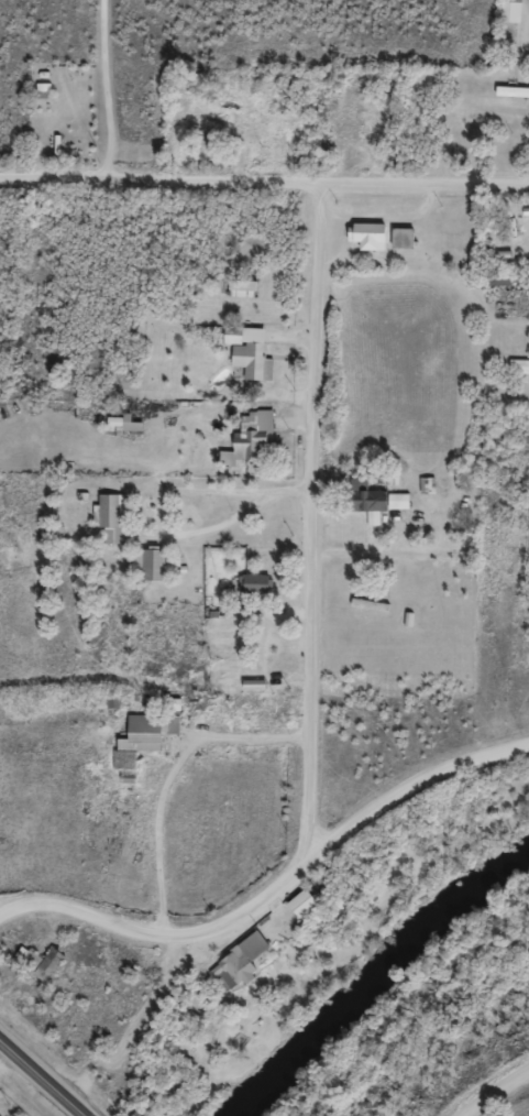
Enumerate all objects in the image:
building: (509, 20)
road: (107, 89)
building: (511, 99)
road: (264, 177)
building: (365, 244)
building: (400, 245)
building: (497, 288)
building: (240, 296)
building: (247, 360)
building: (518, 374)
building: (123, 430)
building: (247, 447)
building: (423, 493)
building: (365, 508)
building: (396, 508)
road: (311, 517)
building: (109, 525)
building: (146, 572)
building: (251, 592)
building: (173, 714)
building: (145, 741)
road: (276, 887)
building: (300, 910)
building: (235, 972)
river: (373, 974)
building: (47, 975)
road: (42, 1077)
road: (494, 1096)

